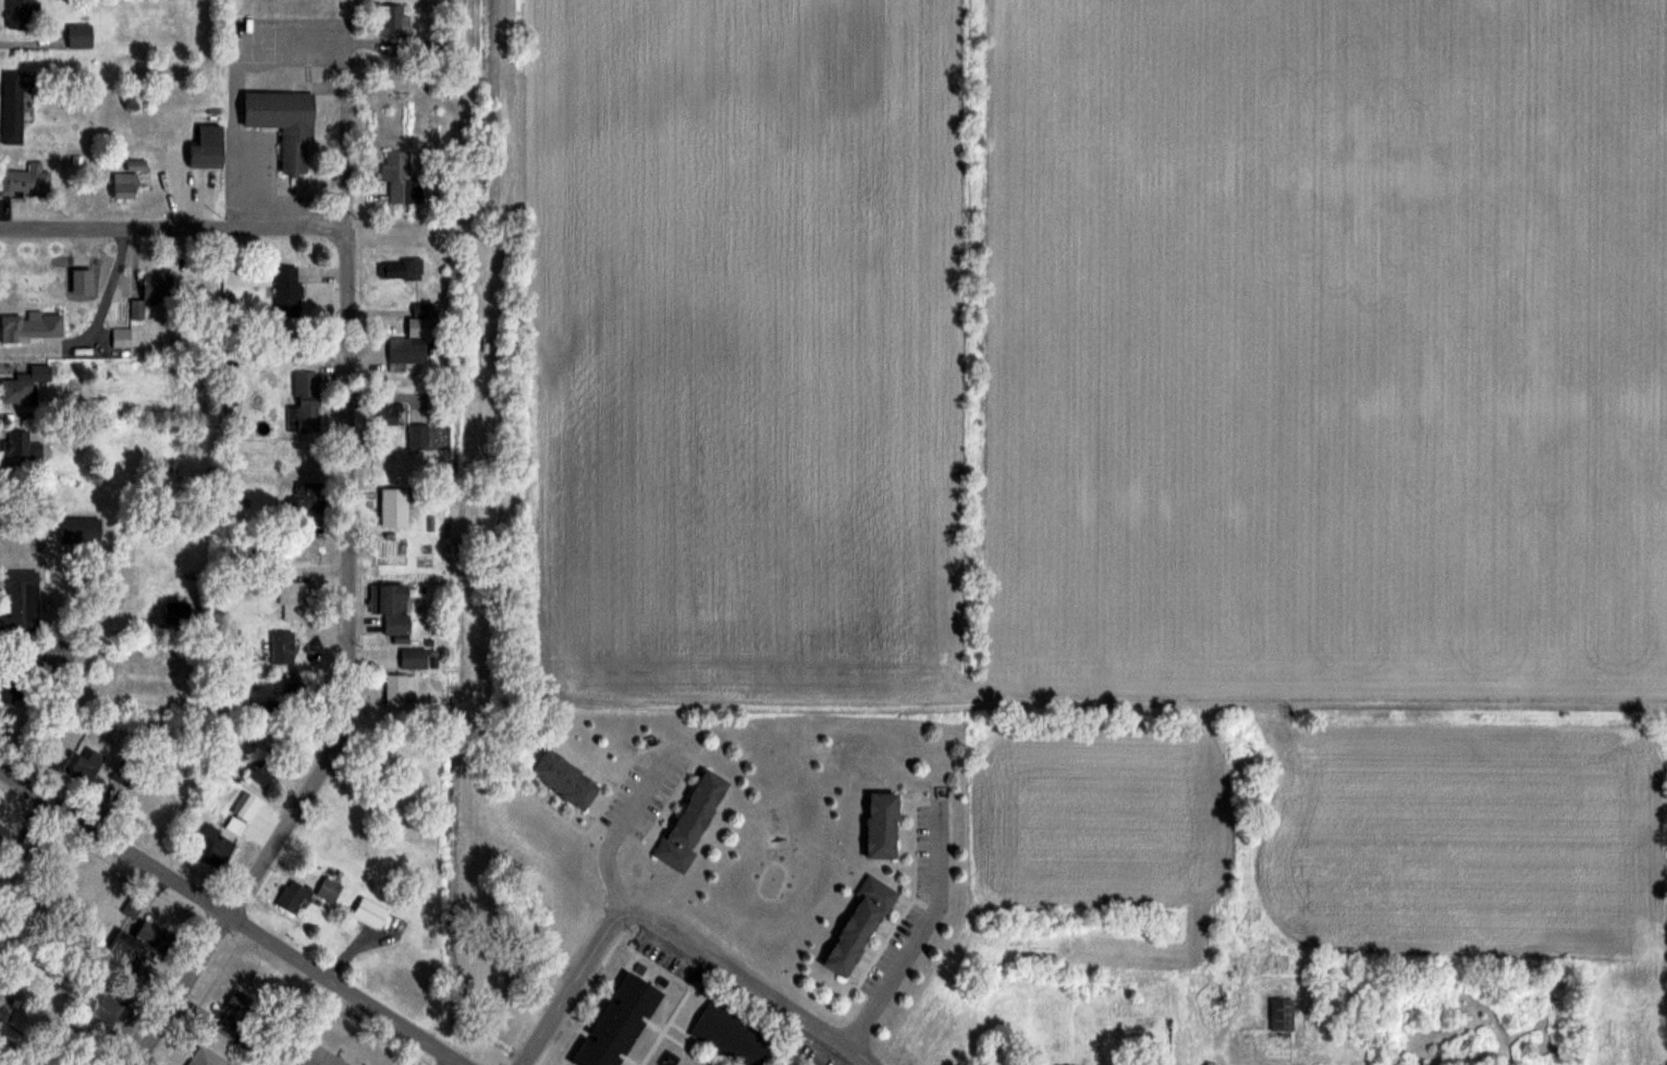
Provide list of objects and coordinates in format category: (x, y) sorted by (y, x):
building: (20, 7)
building: (394, 21)
building: (79, 36)
road: (224, 89)
building: (12, 106)
building: (284, 124)
road: (335, 128)
building: (207, 148)
building: (394, 167)
building: (21, 181)
building: (124, 185)
road: (173, 225)
building: (404, 269)
building: (156, 286)
building: (287, 289)
building: (32, 325)
crop: (1099, 350)
building: (406, 351)
building: (17, 390)
building: (307, 401)
building: (388, 414)
building: (418, 437)
building: (21, 446)
building: (306, 497)
building: (381, 501)
building: (79, 530)
building: (388, 541)
building: (292, 600)
building: (393, 608)
building: (20, 619)
building: (282, 648)
building: (58, 652)
building: (414, 658)
road: (346, 675)
building: (10, 685)
building: (401, 690)
building: (88, 767)
building: (263, 772)
building: (121, 780)
building: (564, 780)
building: (246, 807)
crop: (1100, 816)
building: (691, 820)
building: (881, 824)
building: (1, 828)
crop: (1469, 840)
building: (216, 845)
road: (600, 847)
building: (89, 887)
building: (328, 889)
building: (292, 896)
road: (233, 916)
building: (859, 926)
road: (918, 934)
building: (132, 943)
road: (726, 964)
building: (103, 1001)
road: (555, 1014)
building: (234, 1015)
building: (616, 1020)
building: (728, 1036)
building: (1266, 1036)
road: (21, 1051)
building: (206, 1057)

